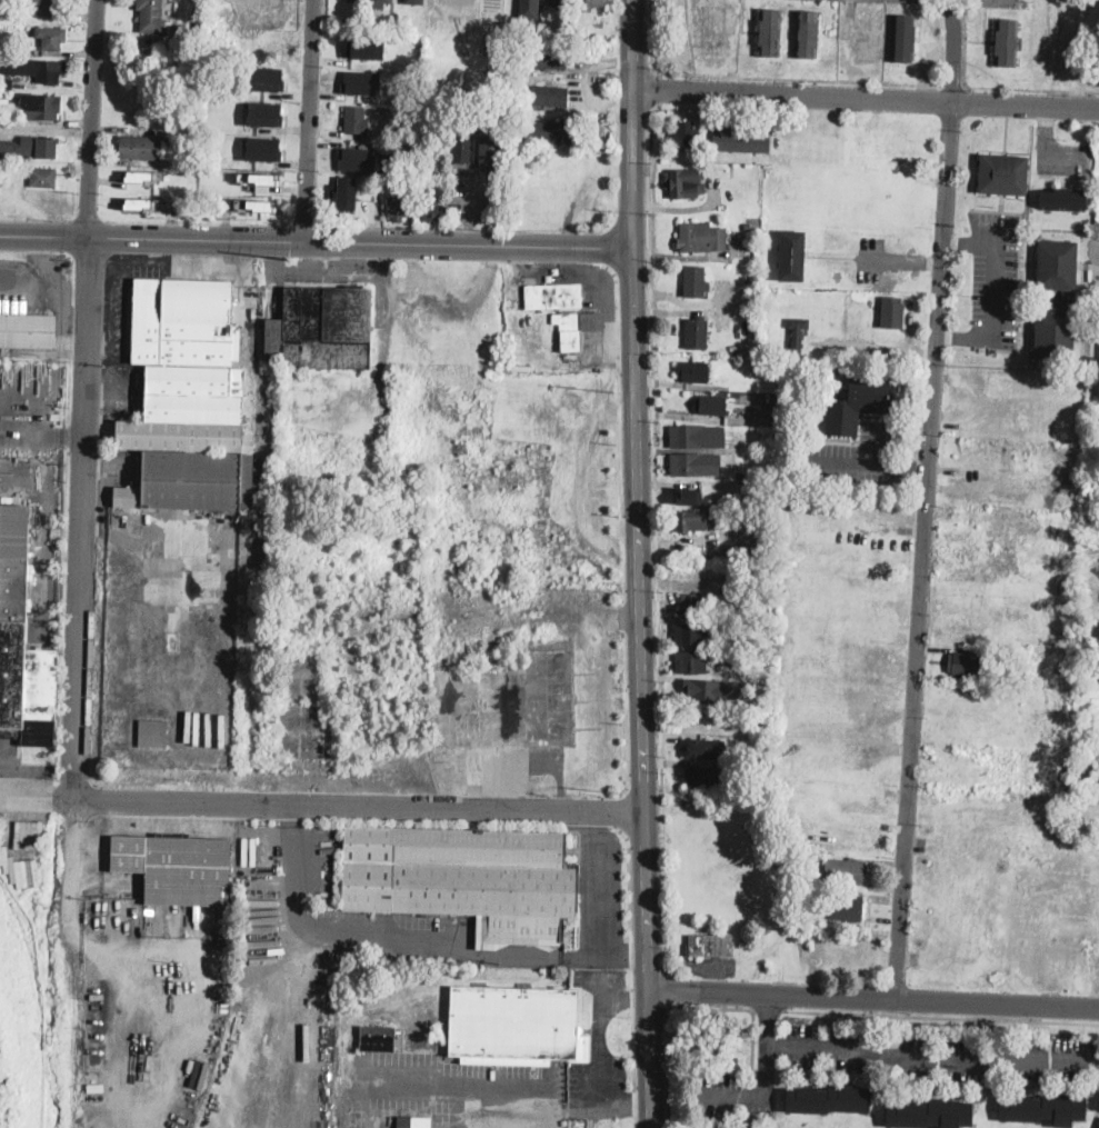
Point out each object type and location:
building: (354, 1)
building: (414, 1)
building: (382, 3)
building: (524, 3)
building: (557, 3)
building: (591, 4)
building: (47, 7)
building: (262, 14)
building: (150, 16)
building: (713, 29)
building: (770, 33)
building: (807, 34)
building: (589, 36)
building: (869, 36)
building: (52, 37)
building: (905, 39)
road: (631, 43)
building: (1006, 43)
building: (366, 47)
road: (955, 51)
building: (522, 54)
building: (549, 58)
building: (37, 69)
road: (762, 77)
building: (266, 78)
building: (361, 81)
building: (7, 83)
road: (952, 83)
road: (989, 86)
road: (657, 87)
building: (550, 96)
road: (865, 99)
building: (42, 104)
building: (264, 112)
building: (356, 120)
road: (309, 121)
building: (410, 126)
building: (558, 131)
building: (685, 134)
building: (741, 141)
building: (30, 147)
building: (263, 148)
building: (141, 149)
building: (461, 149)
building: (489, 150)
building: (178, 158)
building: (357, 158)
building: (178, 169)
building: (1001, 172)
building: (143, 174)
building: (43, 177)
building: (269, 177)
building: (685, 183)
building: (347, 192)
building: (1062, 198)
building: (253, 204)
building: (431, 206)
building: (399, 210)
building: (748, 227)
building: (702, 238)
building: (749, 239)
road: (314, 242)
road: (962, 242)
building: (792, 256)
power tower: (292, 260)
road: (883, 262)
road: (26, 278)
road: (992, 280)
building: (696, 282)
road: (74, 292)
building: (551, 295)
road: (61, 299)
building: (1057, 299)
building: (892, 312)
building: (323, 329)
building: (573, 329)
building: (27, 331)
building: (697, 332)
building: (798, 333)
road: (963, 337)
building: (733, 347)
building: (693, 371)
building: (772, 379)
power tower: (613, 393)
building: (1097, 396)
building: (188, 399)
road: (83, 400)
building: (859, 403)
building: (712, 405)
building: (808, 413)
building: (781, 418)
road: (41, 433)
building: (697, 436)
building: (463, 447)
building: (696, 463)
building: (741, 476)
building: (688, 491)
building: (767, 497)
building: (718, 513)
building: (691, 520)
building: (14, 530)
road: (656, 535)
road: (637, 539)
road: (923, 550)
building: (691, 602)
building: (736, 603)
building: (691, 635)
building: (691, 662)
building: (971, 663)
building: (23, 666)
building: (1013, 670)
building: (693, 690)
building: (153, 733)
building: (703, 747)
building: (1080, 775)
building: (702, 776)
road: (38, 789)
power tower: (621, 792)
road: (359, 811)
road: (290, 822)
road: (71, 868)
building: (177, 868)
building: (321, 870)
building: (846, 871)
building: (466, 878)
road: (595, 886)
building: (847, 908)
building: (711, 945)
road: (430, 946)
road: (672, 988)
road: (873, 997)
road: (123, 998)
road: (682, 1005)
road: (768, 1010)
road: (769, 1015)
road: (941, 1016)
building: (516, 1026)
building: (376, 1037)
road: (876, 1048)
road: (599, 1050)
road: (650, 1059)
road: (762, 1068)
road: (484, 1090)
building: (828, 1099)
building: (1043, 1109)
building: (929, 1115)
building: (414, 1122)

